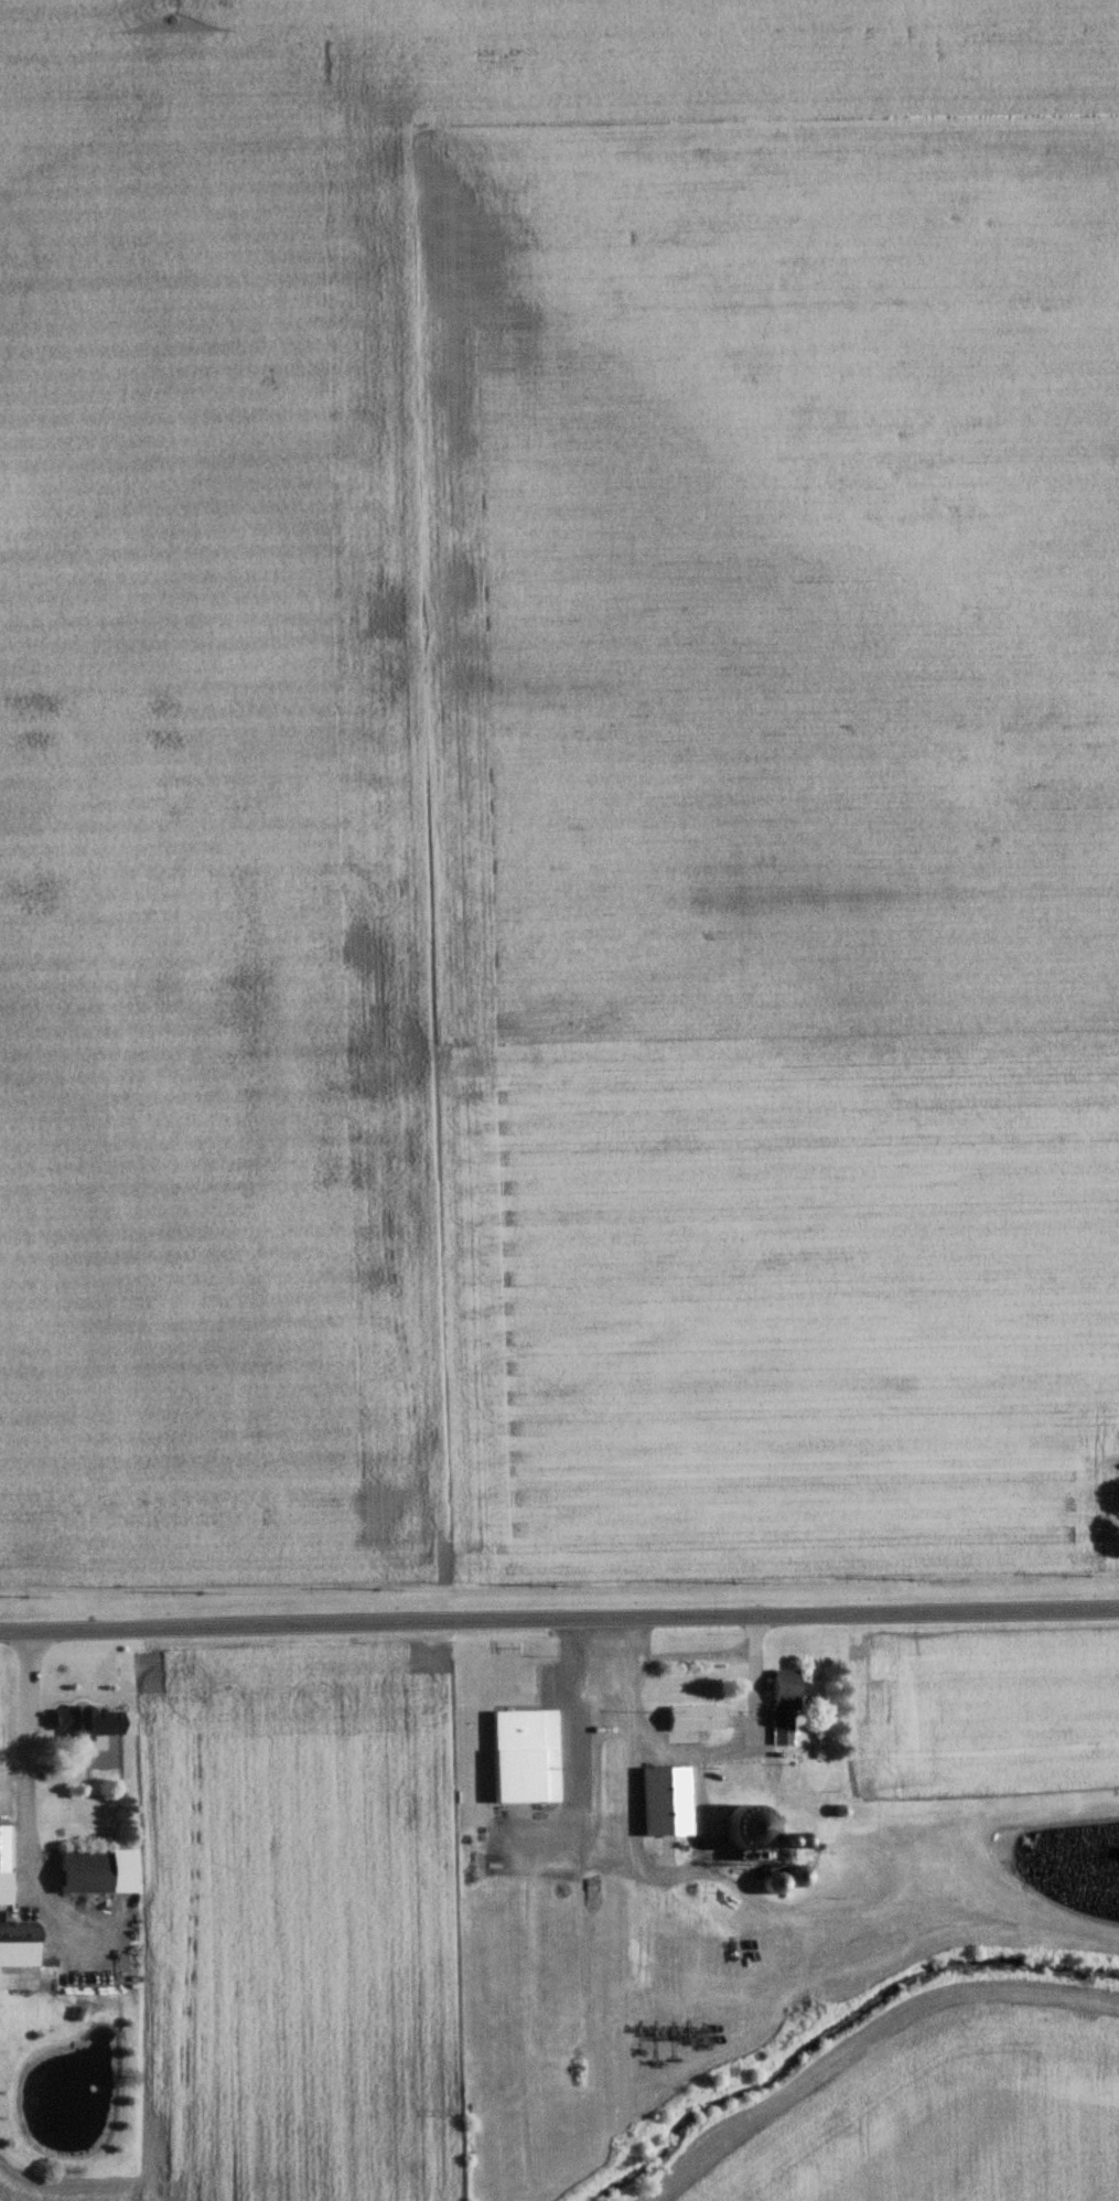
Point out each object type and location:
crop: (557, 783)
road: (559, 1621)
building: (779, 1706)
building: (691, 1719)
building: (82, 1724)
building: (93, 1744)
road: (25, 1752)
road: (689, 1756)
building: (521, 1757)
building: (661, 1803)
building: (2, 1867)
building: (97, 1876)
crop: (292, 1934)
building: (17, 1958)
crop: (953, 2115)

